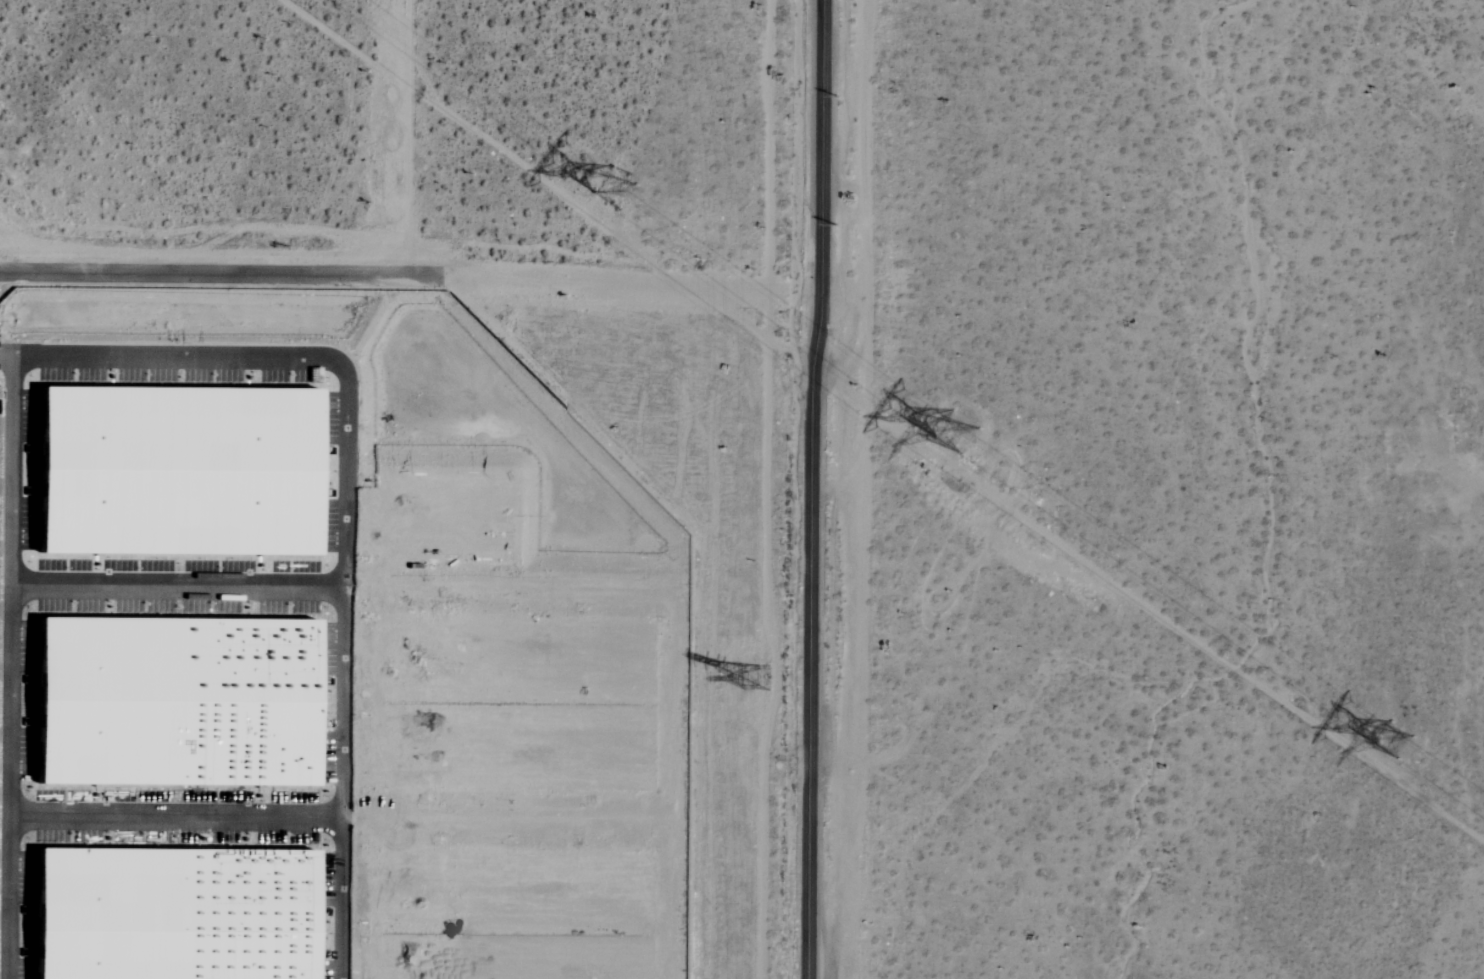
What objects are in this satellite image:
road: (415, 138)
power tower: (604, 192)
road: (218, 274)
road: (627, 284)
road: (290, 357)
power tower: (944, 434)
building: (172, 473)
road: (814, 489)
road: (247, 594)
power tower: (767, 673)
building: (173, 702)
power tower: (1394, 739)
road: (9, 785)
road: (176, 817)
building: (169, 914)

